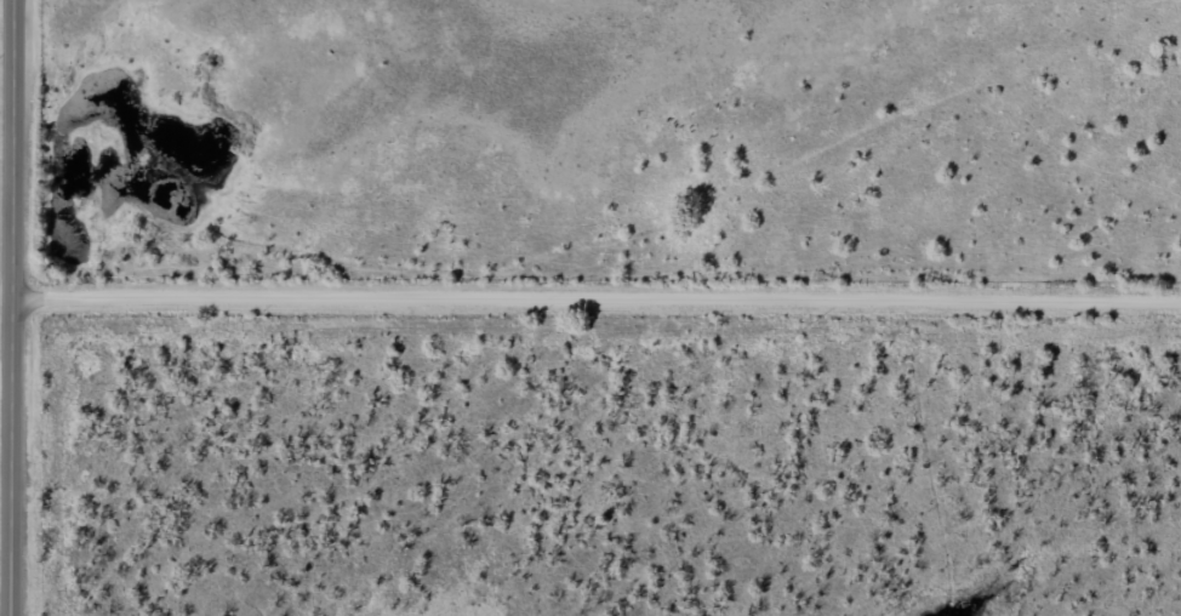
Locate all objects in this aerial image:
road: (599, 296)
road: (17, 308)

